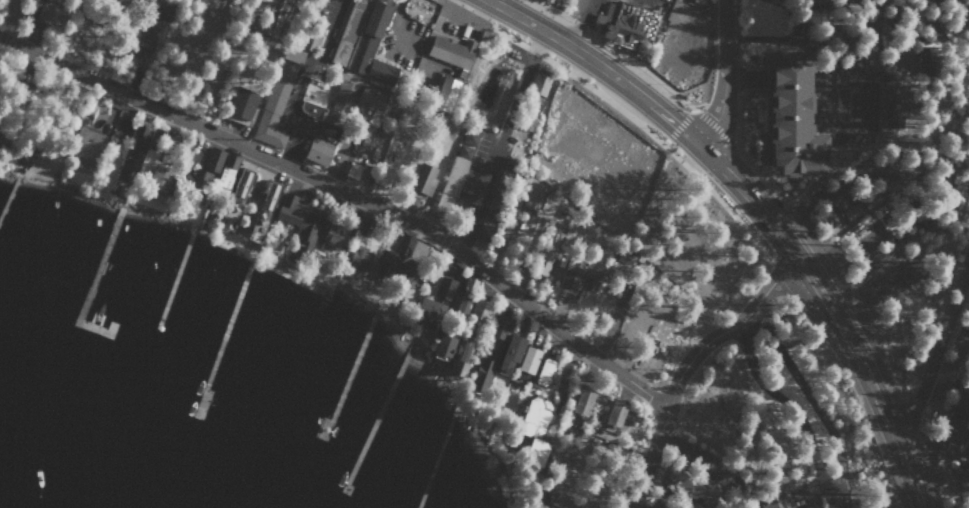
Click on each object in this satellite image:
building: (698, 1)
building: (359, 10)
building: (965, 10)
building: (165, 11)
building: (49, 12)
building: (625, 24)
building: (313, 37)
building: (373, 45)
building: (452, 50)
building: (927, 58)
road: (719, 79)
building: (541, 80)
building: (24, 86)
building: (445, 92)
building: (314, 94)
building: (277, 98)
building: (343, 98)
building: (370, 99)
building: (241, 104)
building: (892, 106)
building: (793, 116)
building: (3, 133)
road: (492, 135)
building: (87, 145)
building: (319, 150)
building: (134, 152)
building: (897, 161)
building: (42, 165)
building: (459, 165)
building: (353, 170)
building: (227, 171)
building: (204, 172)
building: (424, 177)
building: (160, 178)
building: (960, 182)
road: (735, 185)
building: (892, 187)
pier: (10, 195)
building: (535, 196)
building: (236, 197)
road: (348, 197)
building: (263, 210)
building: (853, 211)
building: (914, 215)
building: (301, 217)
building: (489, 222)
building: (333, 233)
road: (637, 244)
building: (545, 252)
building: (401, 256)
building: (362, 258)
building: (879, 258)
building: (580, 275)
pier: (93, 278)
pier: (174, 278)
building: (896, 281)
building: (445, 286)
building: (459, 303)
building: (479, 308)
building: (428, 312)
pier: (225, 336)
building: (445, 341)
building: (493, 345)
building: (512, 350)
road: (937, 357)
building: (461, 358)
building: (527, 361)
road: (683, 363)
pier: (349, 371)
building: (545, 371)
building: (583, 401)
road: (809, 403)
pier: (379, 410)
building: (961, 411)
building: (616, 412)
building: (534, 414)
building: (955, 440)
pier: (438, 447)
building: (537, 450)
building: (961, 474)
road: (909, 479)
building: (693, 486)
building: (556, 501)

